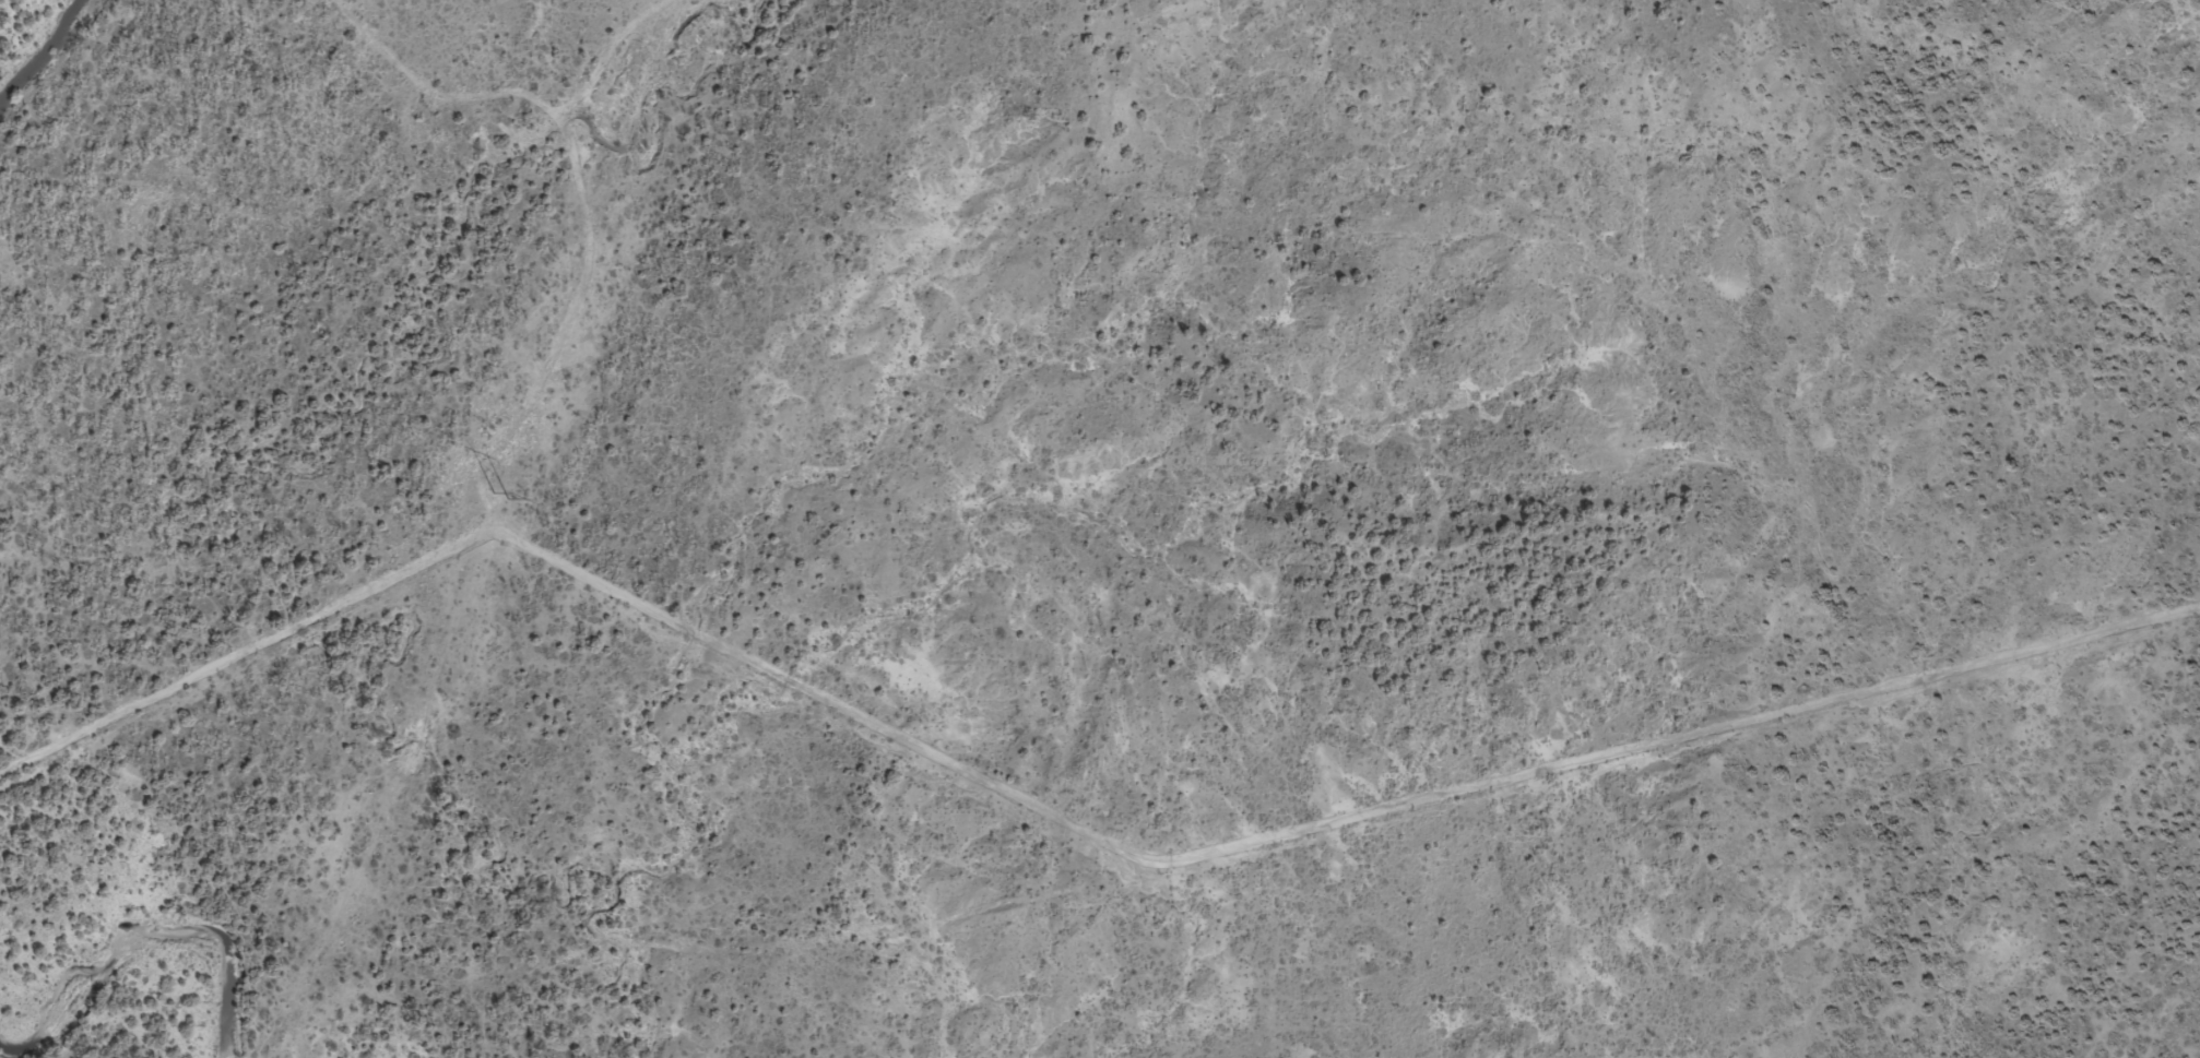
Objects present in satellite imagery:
power tower: (498, 496)

